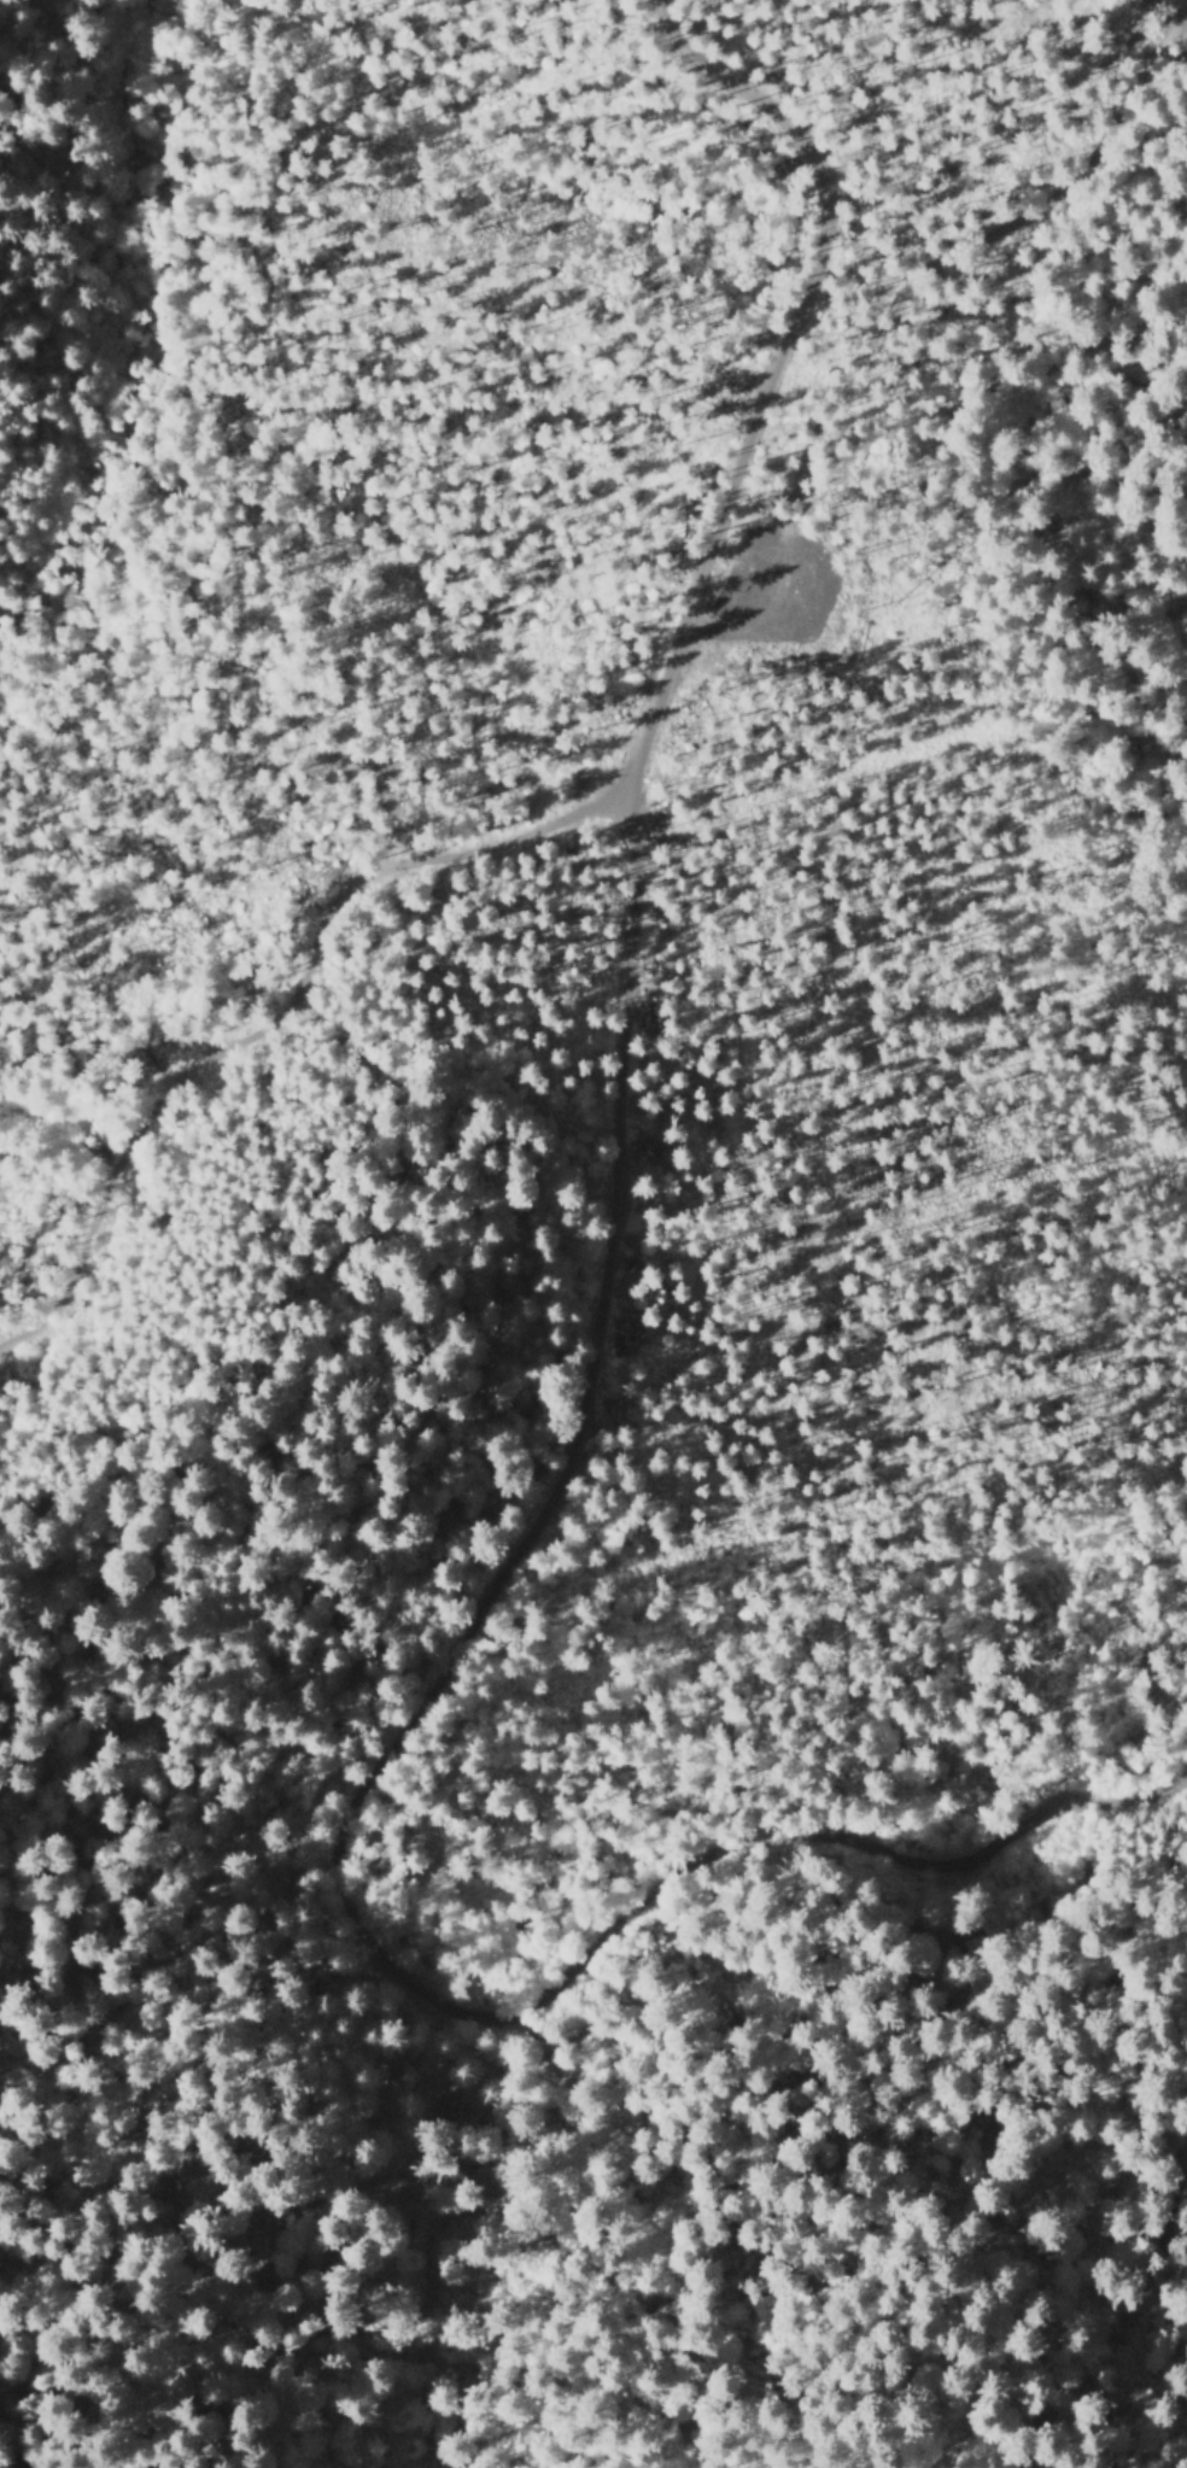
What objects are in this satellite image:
road: (279, 923)
road: (568, 1417)

